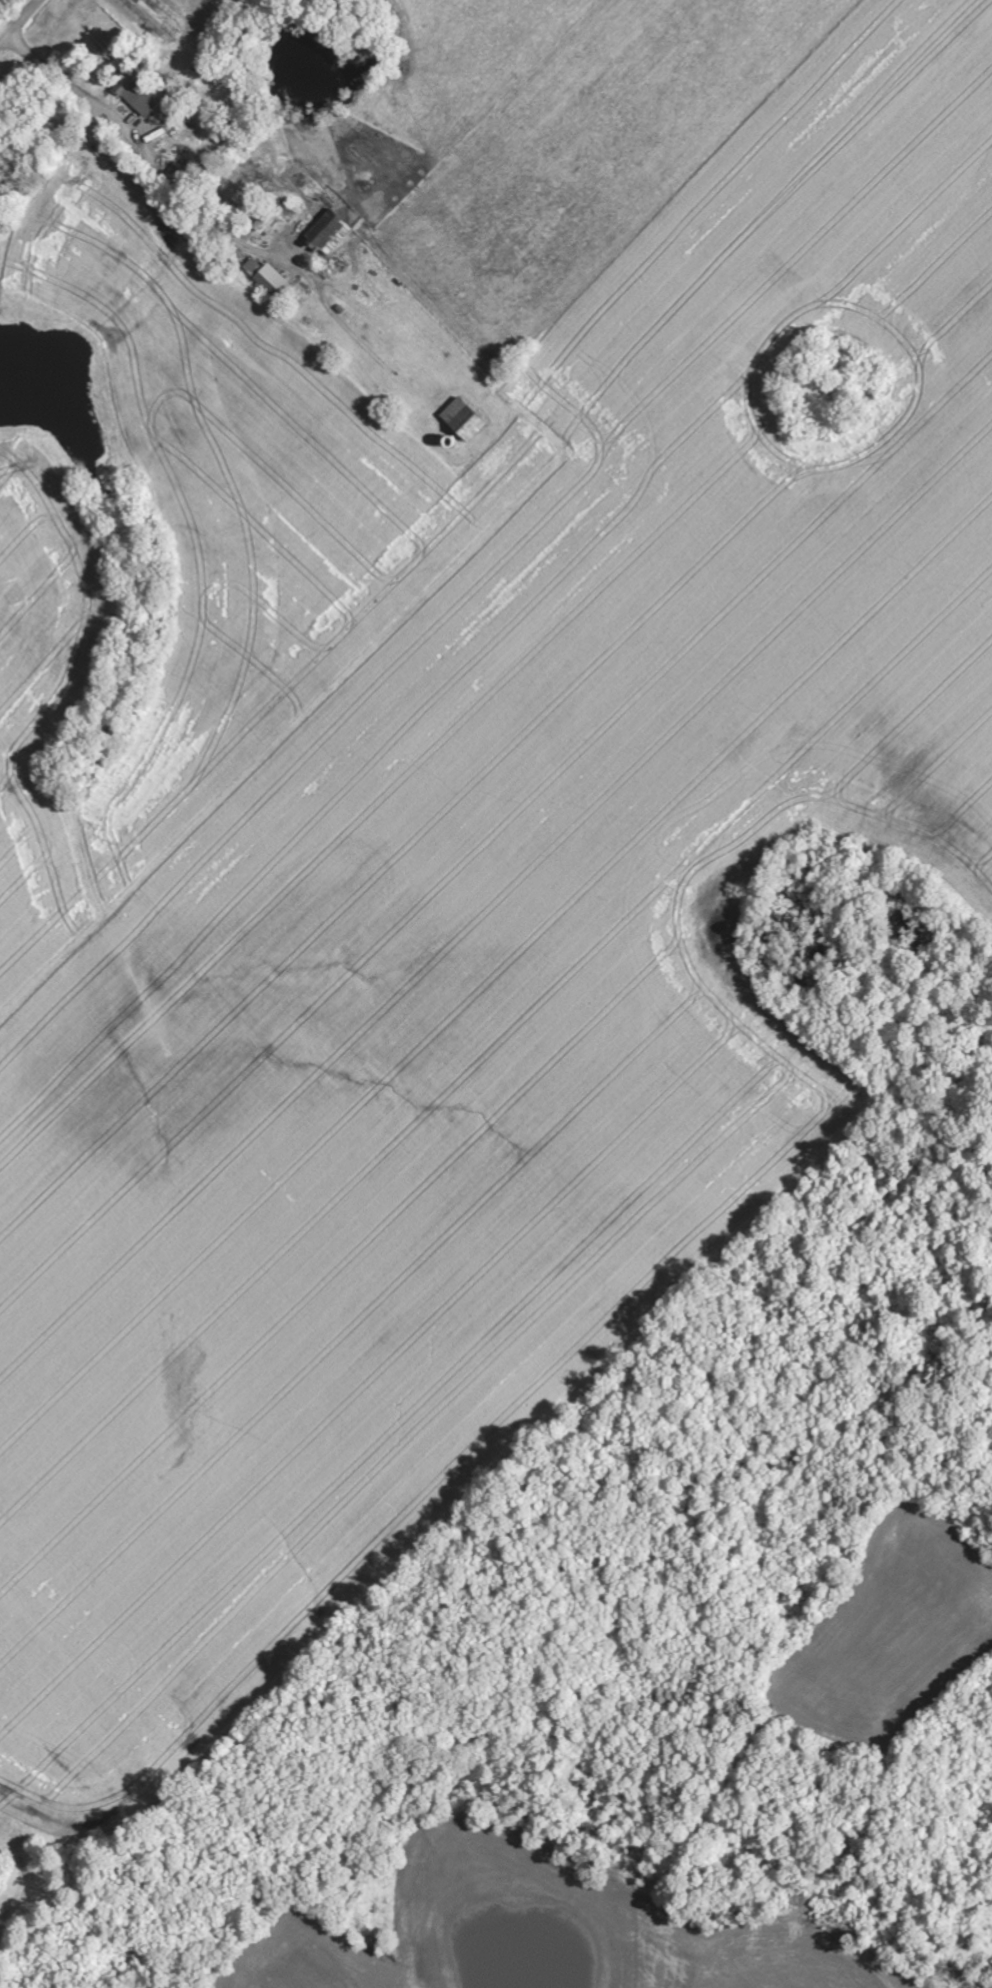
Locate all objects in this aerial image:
road: (18, 21)
building: (143, 98)
road: (208, 234)
building: (331, 234)
building: (269, 278)
building: (466, 421)

